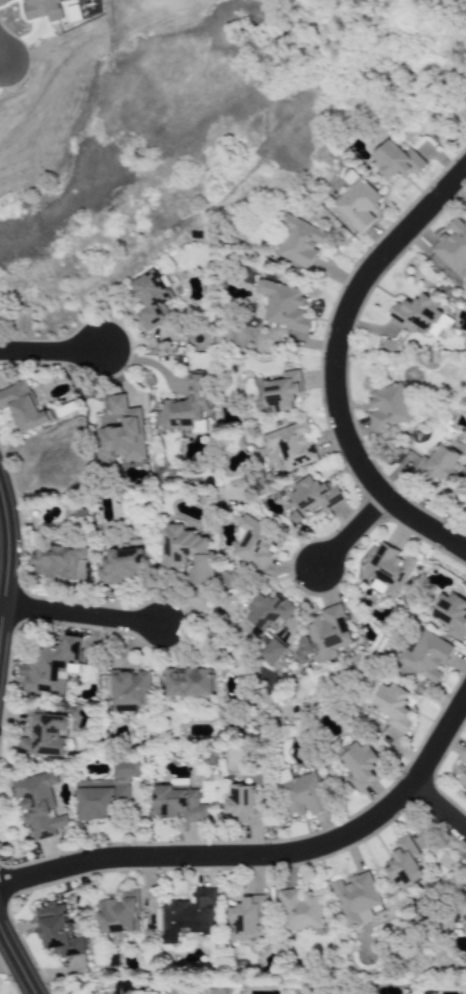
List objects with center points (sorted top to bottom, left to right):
building: (43, 10)
road: (1, 57)
building: (396, 161)
building: (358, 205)
building: (298, 242)
building: (452, 248)
building: (152, 300)
building: (284, 306)
building: (422, 315)
road: (52, 354)
road: (334, 365)
building: (277, 392)
building: (23, 407)
building: (186, 409)
building: (388, 409)
building: (121, 435)
building: (291, 446)
building: (440, 465)
building: (314, 496)
road: (346, 535)
building: (255, 544)
building: (186, 554)
building: (57, 561)
building: (121, 567)
road: (9, 569)
building: (386, 571)
building: (268, 612)
building: (451, 615)
road: (86, 617)
building: (322, 637)
building: (272, 652)
building: (425, 657)
building: (51, 667)
building: (188, 683)
building: (131, 691)
building: (393, 707)
building: (44, 734)
building: (359, 766)
building: (126, 769)
building: (462, 770)
building: (303, 796)
building: (101, 802)
building: (178, 803)
building: (243, 805)
building: (39, 806)
road: (436, 811)
road: (268, 855)
building: (405, 862)
building: (356, 898)
building: (465, 904)
building: (300, 911)
building: (119, 915)
building: (247, 916)
building: (189, 917)
building: (464, 926)
building: (59, 932)
road: (17, 960)
building: (128, 989)

